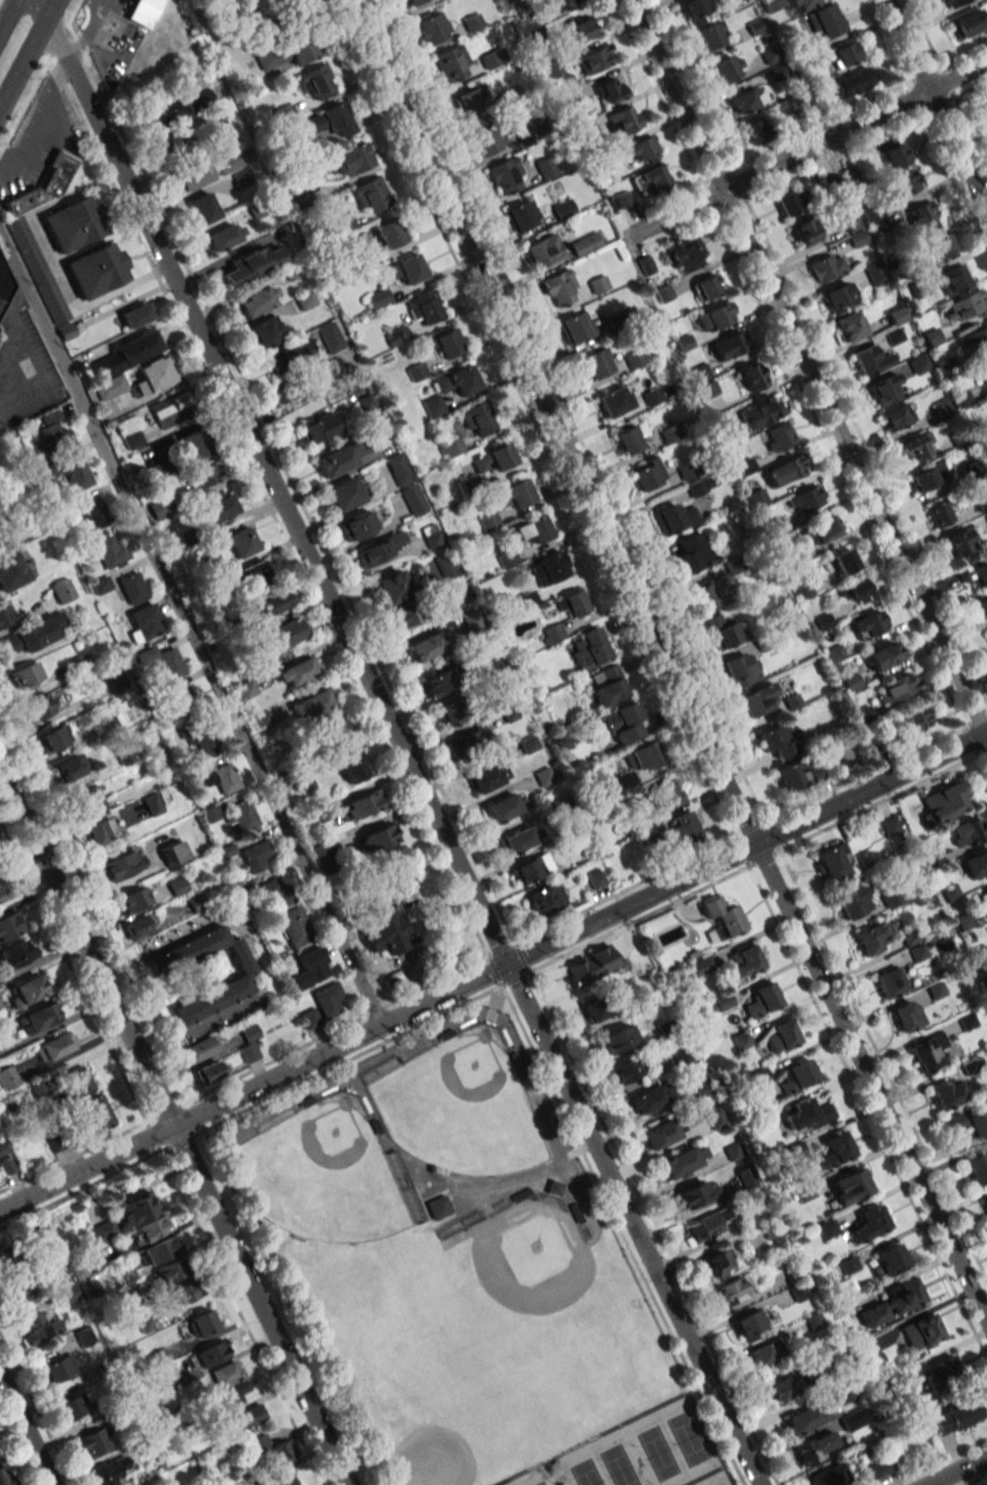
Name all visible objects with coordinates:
road: (105, 0)
road: (205, 1)
building: (259, 1)
building: (412, 1)
building: (952, 2)
building: (561, 4)
building: (770, 4)
building: (803, 4)
building: (695, 10)
building: (144, 12)
road: (7, 14)
road: (73, 14)
road: (263, 19)
building: (825, 21)
building: (968, 23)
building: (432, 27)
building: (579, 30)
road: (89, 31)
building: (710, 35)
road: (59, 42)
road: (26, 52)
building: (288, 52)
building: (844, 54)
building: (492, 58)
building: (594, 59)
building: (450, 62)
building: (553, 67)
building: (726, 68)
building: (780, 75)
building: (854, 81)
building: (315, 82)
building: (610, 89)
building: (985, 91)
building: (199, 100)
building: (742, 101)
building: (468, 102)
road: (26, 103)
road: (936, 104)
building: (162, 113)
building: (332, 120)
building: (623, 120)
road: (40, 125)
building: (586, 129)
building: (753, 130)
building: (488, 140)
building: (174, 144)
building: (641, 149)
road: (804, 150)
building: (892, 152)
building: (351, 159)
building: (229, 162)
building: (546, 167)
building: (506, 175)
building: (193, 176)
building: (656, 177)
building: (903, 182)
building: (833, 184)
building: (371, 194)
building: (787, 202)
building: (203, 207)
building: (562, 208)
building: (522, 214)
building: (923, 216)
building: (873, 219)
building: (344, 222)
building: (851, 223)
building: (72, 224)
building: (806, 231)
building: (391, 232)
building: (224, 236)
building: (857, 238)
building: (585, 244)
building: (941, 246)
building: (542, 250)
building: (685, 252)
building: (253, 264)
building: (826, 266)
building: (36, 269)
building: (406, 269)
building: (97, 270)
building: (876, 274)
building: (954, 280)
building: (2, 282)
building: (598, 284)
building: (558, 287)
building: (705, 287)
building: (836, 297)
building: (257, 300)
building: (966, 306)
building: (424, 307)
building: (137, 314)
building: (715, 317)
building: (575, 326)
building: (847, 326)
building: (66, 331)
building: (266, 331)
building: (329, 336)
building: (397, 336)
building: (894, 336)
building: (974, 340)
building: (446, 343)
building: (728, 345)
building: (128, 353)
building: (289, 355)
building: (634, 359)
building: (869, 360)
building: (595, 363)
building: (918, 363)
road: (807, 371)
building: (983, 371)
building: (156, 373)
building: (751, 375)
building: (456, 380)
road: (42, 388)
building: (886, 389)
building: (649, 397)
building: (613, 401)
building: (433, 406)
building: (171, 409)
building: (760, 413)
building: (896, 416)
building: (477, 418)
building: (978, 425)
building: (318, 428)
building: (668, 431)
building: (52, 434)
building: (630, 437)
building: (778, 437)
building: (193, 445)
building: (913, 447)
building: (451, 448)
building: (346, 454)
building: (493, 458)
building: (398, 469)
building: (786, 470)
building: (46, 472)
building: (647, 473)
building: (77, 474)
building: (205, 475)
building: (928, 476)
road: (225, 482)
building: (698, 486)
building: (344, 494)
building: (513, 494)
building: (413, 499)
building: (805, 499)
building: (160, 508)
building: (219, 508)
building: (89, 511)
building: (939, 513)
building: (986, 517)
building: (674, 519)
building: (488, 521)
building: (357, 525)
building: (532, 529)
building: (819, 530)
building: (431, 535)
building: (240, 541)
building: (959, 545)
building: (379, 549)
building: (110, 552)
building: (691, 552)
building: (507, 558)
building: (843, 560)
building: (445, 565)
building: (548, 568)
building: (12, 570)
building: (255, 572)
building: (975, 573)
building: (101, 584)
building: (392, 587)
building: (133, 588)
building: (62, 591)
building: (856, 591)
building: (704, 597)
building: (527, 599)
building: (275, 602)
building: (571, 602)
building: (980, 606)
building: (5, 615)
building: (405, 615)
building: (144, 622)
building: (867, 624)
building: (290, 631)
building: (723, 631)
road: (189, 632)
building: (552, 632)
building: (34, 634)
building: (425, 648)
building: (588, 649)
building: (883, 655)
building: (163, 662)
road: (666, 662)
building: (741, 669)
building: (295, 672)
building: (26, 676)
building: (117, 679)
building: (437, 683)
building: (607, 685)
building: (897, 687)
building: (246, 688)
building: (758, 700)
building: (184, 701)
building: (312, 704)
building: (40, 707)
building: (449, 712)
building: (261, 720)
building: (912, 721)
building: (621, 722)
building: (336, 733)
building: (52, 738)
building: (199, 738)
building: (777, 740)
road: (397, 742)
building: (467, 742)
building: (641, 756)
building: (351, 765)
building: (70, 767)
building: (545, 773)
building: (797, 774)
building: (219, 777)
building: (488, 777)
building: (665, 793)
building: (87, 795)
building: (945, 801)
building: (152, 804)
building: (362, 804)
building: (504, 807)
building: (92, 812)
building: (210, 814)
building: (241, 816)
building: (890, 825)
building: (684, 828)
building: (100, 831)
building: (966, 833)
building: (376, 837)
building: (517, 840)
building: (173, 852)
building: (255, 855)
building: (831, 862)
building: (976, 864)
building: (122, 865)
building: (531, 868)
building: (595, 877)
building: (177, 886)
building: (1, 891)
building: (274, 893)
building: (984, 894)
building: (546, 898)
building: (134, 899)
building: (891, 899)
building: (853, 902)
building: (721, 918)
building: (10, 925)
building: (139, 926)
building: (295, 926)
building: (386, 931)
building: (869, 939)
building: (627, 947)
road: (252, 952)
building: (17, 953)
building: (743, 960)
building: (701, 966)
building: (309, 968)
road: (493, 970)
road: (73, 973)
building: (244, 975)
building: (889, 982)
building: (26, 990)
building: (328, 1000)
building: (762, 1000)
building: (599, 1007)
building: (907, 1016)
building: (37, 1018)
building: (310, 1018)
building: (250, 1032)
building: (782, 1036)
building: (617, 1038)
building: (741, 1040)
building: (55, 1046)
building: (200, 1048)
building: (249, 1052)
building: (928, 1052)
road: (348, 1059)
building: (623, 1071)
building: (209, 1072)
building: (798, 1075)
building: (760, 1077)
building: (8, 1078)
building: (80, 1084)
building: (39, 1089)
building: (946, 1093)
building: (649, 1099)
park: (461, 1107)
building: (97, 1110)
building: (809, 1113)
building: (715, 1118)
building: (954, 1123)
building: (978, 1123)
road: (175, 1126)
building: (660, 1133)
road: (153, 1136)
building: (61, 1139)
road: (182, 1140)
building: (2, 1148)
building: (836, 1149)
road: (77, 1154)
building: (682, 1161)
building: (7, 1166)
building: (977, 1168)
park: (323, 1175)
road: (85, 1186)
building: (848, 1188)
building: (694, 1193)
road: (124, 1197)
building: (985, 1203)
building: (438, 1206)
building: (76, 1207)
building: (139, 1208)
road: (97, 1218)
building: (708, 1224)
building: (868, 1224)
building: (154, 1227)
building: (827, 1228)
building: (104, 1230)
road: (622, 1234)
building: (41, 1235)
road: (150, 1242)
building: (160, 1249)
building: (6, 1252)
building: (52, 1255)
building: (889, 1259)
road: (162, 1260)
building: (720, 1263)
park: (461, 1266)
building: (77, 1267)
building: (174, 1268)
road: (189, 1275)
building: (90, 1289)
building: (17, 1290)
building: (732, 1290)
building: (800, 1292)
building: (184, 1293)
building: (70, 1294)
building: (132, 1294)
road: (201, 1301)
building: (893, 1302)
road: (289, 1305)
road: (240, 1315)
building: (815, 1322)
building: (202, 1323)
building: (748, 1323)
building: (145, 1324)
building: (39, 1327)
building: (921, 1331)
road: (216, 1333)
building: (84, 1336)
building: (211, 1353)
building: (766, 1353)
building: (160, 1356)
road: (222, 1362)
building: (59, 1368)
building: (105, 1370)
road: (187, 1373)
road: (269, 1373)
building: (940, 1373)
building: (227, 1374)
building: (168, 1375)
building: (784, 1386)
building: (844, 1390)
building: (227, 1397)
road: (248, 1406)
building: (70, 1408)
road: (36, 1409)
building: (114, 1413)
building: (859, 1414)
building: (250, 1416)
building: (954, 1417)
building: (804, 1418)
road: (27, 1428)
road: (292, 1431)
building: (191, 1437)
park: (440, 1437)
building: (93, 1442)
building: (140, 1444)
road: (18, 1446)
building: (816, 1446)
building: (269, 1450)
park: (646, 1450)
road: (287, 1464)
building: (882, 1467)
road: (958, 1470)
building: (110, 1471)
building: (5, 1475)
building: (830, 1475)
park: (532, 1477)
park: (715, 1478)
building: (278, 1479)

